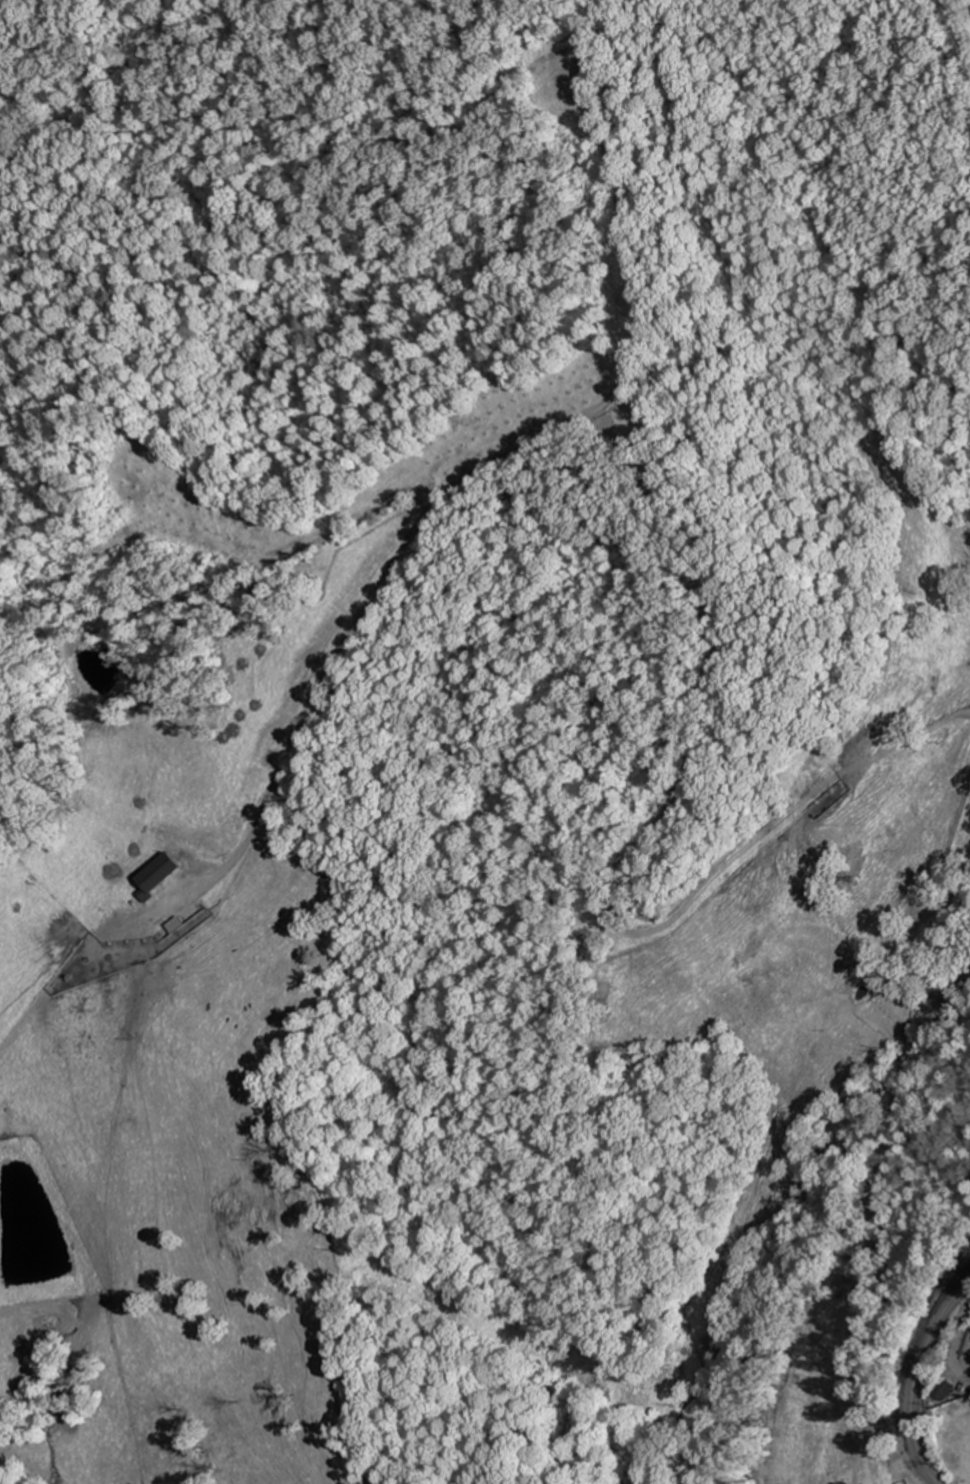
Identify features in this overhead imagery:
road: (960, 26)
road: (651, 298)
building: (947, 656)
road: (905, 745)
building: (159, 874)
road: (891, 1125)
road: (918, 1377)
building: (949, 1391)

